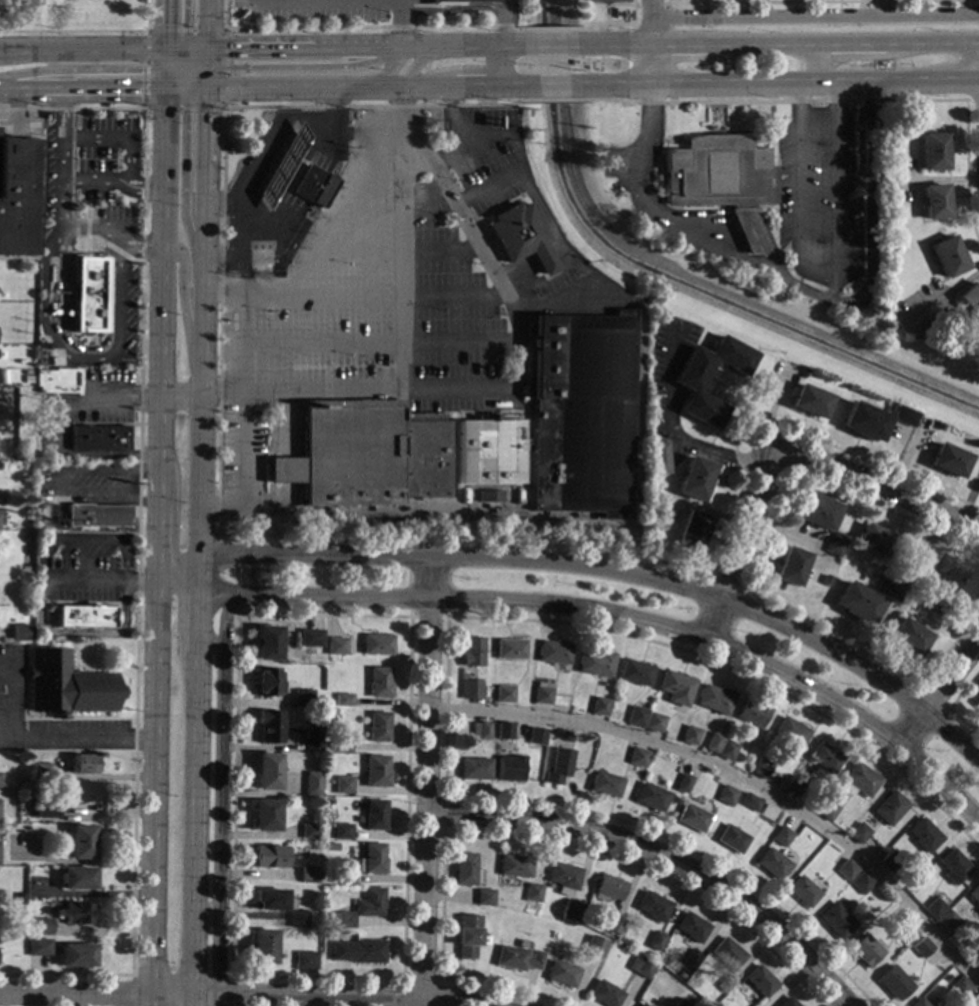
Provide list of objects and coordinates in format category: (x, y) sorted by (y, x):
road: (773, 1)
building: (454, 2)
road: (452, 7)
parking lot: (332, 10)
road: (439, 12)
park: (73, 14)
road: (813, 16)
road: (398, 23)
road: (616, 23)
traffic signals: (161, 24)
road: (186, 24)
traffic signals: (186, 24)
road: (206, 24)
road: (161, 25)
road: (354, 26)
road: (546, 28)
road: (87, 30)
road: (649, 42)
road: (629, 43)
road: (502, 44)
road: (460, 45)
road: (549, 45)
road: (777, 45)
road: (301, 48)
road: (195, 49)
traffic signals: (205, 49)
traffic signals: (231, 49)
road: (398, 49)
road: (408, 49)
road: (79, 50)
traffic signals: (160, 50)
road: (173, 50)
road: (668, 52)
road: (172, 54)
road: (186, 55)
road: (197, 56)
road: (160, 58)
road: (205, 58)
road: (419, 58)
road: (184, 62)
road: (812, 62)
road: (171, 65)
road: (188, 65)
road: (184, 66)
road: (302, 66)
road: (196, 67)
traffic signals: (230, 67)
road: (79, 68)
traffic signals: (140, 68)
road: (187, 69)
road: (169, 75)
road: (379, 77)
road: (160, 78)
road: (205, 78)
road: (186, 79)
road: (779, 80)
road: (193, 81)
road: (513, 87)
road: (553, 87)
road: (328, 88)
road: (476, 88)
road: (80, 89)
traffic signals: (140, 89)
traffic signals: (160, 89)
road: (173, 89)
road: (195, 89)
traffic signals: (205, 89)
road: (551, 98)
road: (972, 99)
road: (848, 101)
road: (333, 104)
road: (225, 106)
road: (16, 110)
traffic signals: (185, 114)
traffic signals: (205, 114)
road: (738, 130)
road: (509, 132)
road: (769, 134)
road: (204, 139)
road: (270, 143)
building: (889, 147)
building: (931, 152)
road: (444, 157)
road: (127, 158)
road: (71, 162)
parking lot: (89, 167)
road: (835, 171)
road: (184, 176)
building: (719, 178)
building: (271, 182)
gas station: (277, 183)
road: (850, 183)
road: (142, 186)
building: (313, 186)
building: (18, 195)
road: (795, 197)
parking lot: (816, 200)
road: (222, 201)
road: (61, 202)
building: (933, 202)
road: (393, 206)
road: (642, 207)
road: (865, 210)
road: (328, 215)
road: (731, 218)
building: (884, 225)
road: (86, 228)
road: (75, 232)
road: (469, 234)
building: (518, 238)
road: (552, 239)
road: (393, 250)
road: (89, 252)
road: (122, 253)
building: (946, 257)
road: (225, 264)
road: (156, 280)
road: (57, 285)
parking lot: (383, 288)
road: (795, 288)
building: (88, 294)
road: (392, 297)
road: (221, 298)
road: (261, 298)
building: (969, 301)
road: (183, 304)
building: (893, 309)
road: (378, 342)
building: (924, 342)
building: (42, 346)
road: (84, 348)
road: (636, 351)
road: (75, 358)
road: (200, 373)
building: (801, 373)
building: (58, 382)
road: (380, 387)
building: (687, 387)
road: (221, 391)
building: (807, 402)
road: (58, 404)
building: (888, 407)
building: (580, 414)
building: (902, 417)
building: (927, 422)
building: (862, 423)
road: (99, 424)
road: (243, 425)
road: (666, 436)
building: (100, 438)
building: (488, 452)
road: (781, 454)
building: (366, 455)
building: (657, 458)
building: (947, 461)
road: (289, 468)
road: (102, 472)
road: (143, 473)
building: (692, 479)
road: (126, 487)
building: (650, 492)
building: (487, 497)
road: (90, 499)
building: (813, 512)
road: (399, 514)
building: (97, 515)
road: (155, 524)
road: (508, 526)
building: (690, 530)
road: (138, 534)
road: (311, 537)
building: (873, 541)
road: (86, 542)
building: (833, 545)
parking lot: (87, 567)
road: (177, 567)
building: (788, 567)
road: (614, 571)
road: (747, 573)
road: (218, 577)
road: (99, 580)
building: (824, 581)
building: (955, 582)
building: (922, 584)
road: (77, 591)
building: (891, 592)
road: (408, 597)
building: (908, 597)
road: (97, 602)
building: (856, 603)
road: (197, 604)
road: (735, 609)
road: (595, 612)
building: (84, 617)
road: (408, 617)
building: (21, 633)
road: (81, 633)
building: (906, 637)
building: (310, 638)
road: (209, 639)
building: (267, 644)
building: (376, 645)
building: (337, 647)
building: (509, 649)
building: (470, 653)
building: (554, 654)
road: (445, 655)
building: (594, 664)
building: (634, 674)
parking lot: (11, 682)
building: (267, 683)
building: (377, 683)
building: (66, 686)
building: (675, 688)
building: (469, 690)
building: (503, 694)
road: (938, 694)
building: (541, 695)
road: (932, 697)
building: (976, 697)
building: (302, 699)
building: (714, 700)
building: (342, 701)
road: (948, 706)
building: (599, 707)
building: (751, 714)
road: (55, 717)
building: (636, 717)
building: (653, 723)
building: (268, 727)
building: (377, 727)
road: (62, 730)
building: (479, 731)
building: (503, 731)
building: (790, 734)
building: (534, 736)
building: (689, 736)
building: (311, 742)
building: (711, 742)
road: (39, 743)
building: (340, 746)
building: (726, 751)
road: (151, 754)
building: (637, 758)
building: (824, 758)
building: (84, 765)
building: (557, 767)
building: (473, 769)
building: (509, 769)
building: (760, 769)
building: (40, 772)
building: (266, 772)
building: (374, 772)
road: (736, 778)
road: (425, 781)
building: (857, 781)
building: (780, 783)
building: (311, 784)
building: (682, 784)
building: (342, 785)
building: (604, 785)
building: (794, 787)
building: (79, 792)
road: (219, 795)
building: (725, 796)
building: (650, 797)
road: (442, 798)
building: (749, 803)
building: (889, 809)
building: (47, 810)
building: (826, 811)
building: (766, 812)
building: (373, 815)
building: (264, 816)
building: (691, 818)
road: (195, 824)
building: (308, 831)
building: (340, 832)
building: (858, 834)
building: (923, 836)
road: (524, 837)
building: (781, 837)
building: (731, 839)
building: (80, 843)
building: (331, 848)
building: (268, 857)
building: (372, 859)
road: (659, 859)
building: (890, 861)
building: (771, 865)
building: (356, 866)
building: (513, 867)
building: (954, 867)
building: (463, 870)
building: (845, 870)
building: (308, 875)
building: (342, 878)
building: (563, 878)
building: (77, 879)
building: (861, 883)
building: (607, 889)
building: (801, 892)
building: (531, 893)
building: (974, 895)
building: (483, 898)
building: (267, 900)
building: (573, 906)
building: (652, 907)
building: (361, 909)
building: (934, 910)
building: (75, 914)
building: (296, 919)
building: (568, 920)
building: (836, 921)
building: (948, 922)
building: (613, 925)
building: (42, 927)
building: (692, 928)
building: (905, 934)
building: (466, 936)
building: (656, 942)
building: (262, 948)
building: (594, 948)
building: (921, 948)
building: (864, 951)
building: (359, 952)
building: (62, 953)
building: (727, 954)
building: (517, 959)
building: (691, 960)
building: (304, 961)
road: (149, 964)
building: (978, 964)
building: (640, 967)
road: (196, 975)
building: (561, 975)
road: (420, 978)
building: (760, 982)
building: (725, 984)
building: (893, 984)
building: (960, 988)
road: (110, 990)
building: (604, 995)
road: (74, 996)
road: (171, 996)
road: (205, 997)
road: (355, 998)
road: (125, 1001)
road: (148, 1001)
road: (194, 1001)
road: (217, 1001)
building: (788, 1002)
road: (975, 1002)
building: (680, 1003)
building: (917, 1003)
building: (641, 1005)

